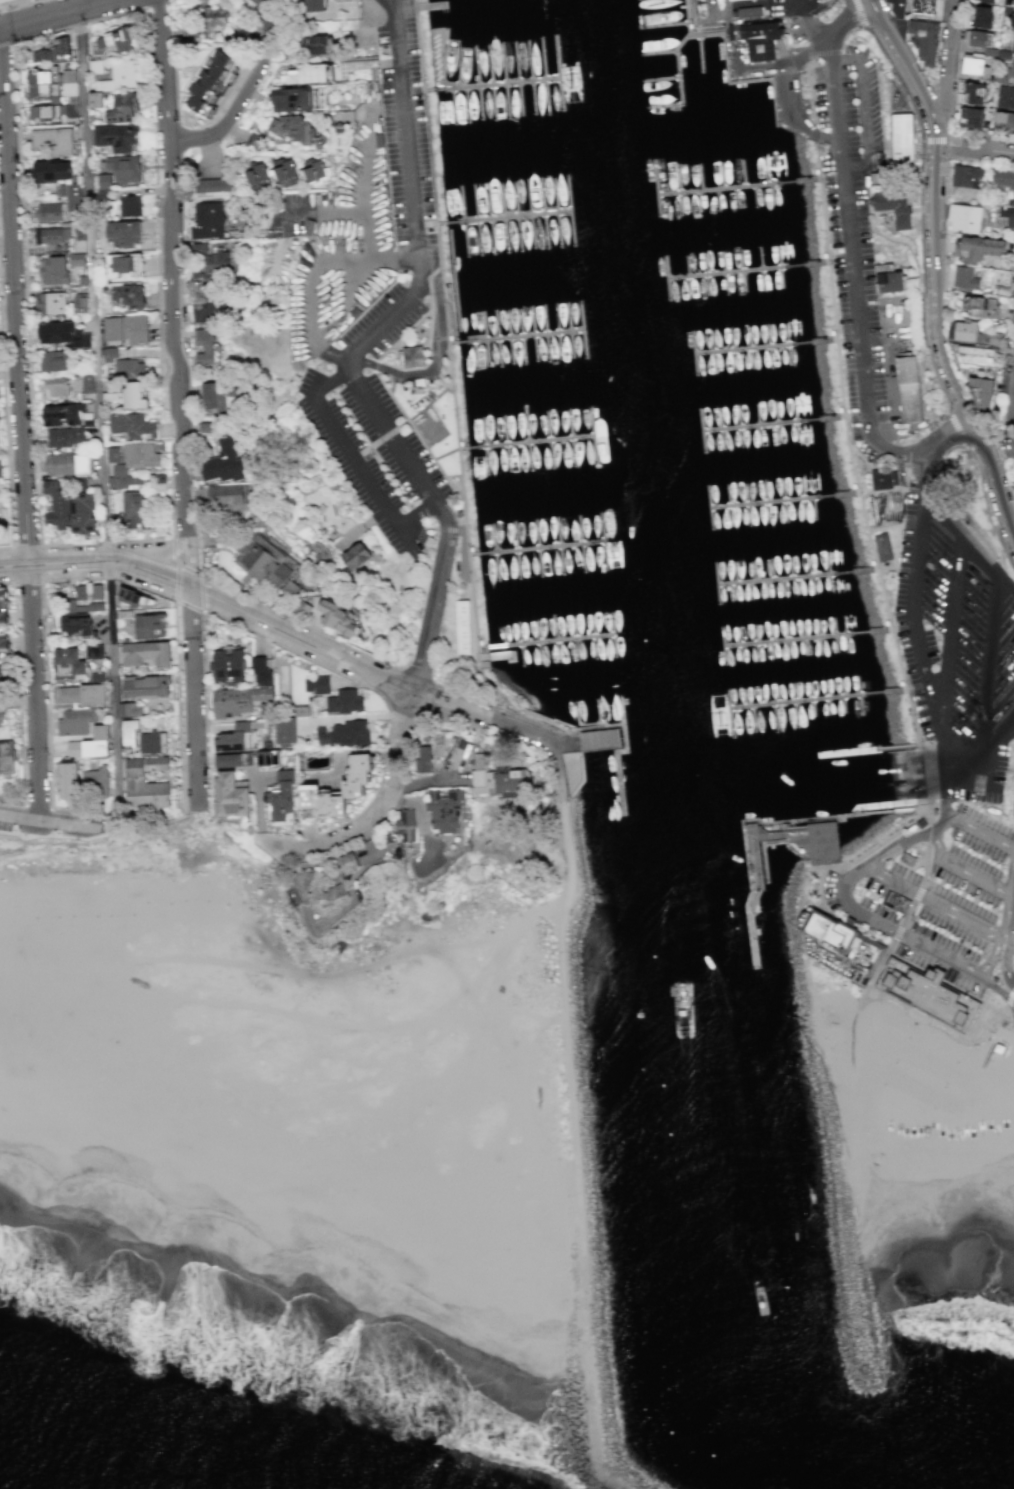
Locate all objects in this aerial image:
building: (730, 0)
road: (4, 1)
building: (744, 1)
road: (870, 1)
building: (986, 1)
building: (1013, 2)
building: (310, 6)
pier: (436, 7)
building: (896, 8)
building: (926, 8)
building: (749, 11)
road: (53, 13)
road: (858, 13)
road: (846, 16)
building: (983, 17)
building: (213, 18)
building: (1011, 21)
road: (748, 22)
park: (357, 24)
building: (116, 38)
building: (976, 38)
building: (922, 41)
road: (7, 43)
building: (60, 43)
building: (763, 43)
building: (1013, 44)
building: (310, 46)
road: (808, 49)
road: (787, 50)
road: (824, 52)
road: (844, 59)
building: (220, 61)
road: (948, 63)
building: (974, 64)
building: (96, 65)
pier: (676, 65)
building: (1011, 66)
building: (215, 73)
building: (118, 74)
building: (308, 74)
building: (69, 81)
building: (38, 83)
building: (206, 83)
pier: (493, 85)
road: (244, 91)
road: (785, 92)
road: (809, 92)
building: (198, 93)
building: (973, 93)
building: (1005, 97)
building: (95, 99)
building: (290, 101)
building: (122, 106)
building: (195, 106)
building: (71, 109)
building: (44, 112)
road: (864, 112)
building: (91, 115)
building: (971, 117)
building: (1003, 121)
building: (290, 129)
road: (815, 133)
building: (116, 136)
road: (944, 139)
building: (53, 140)
road: (928, 140)
building: (905, 142)
building: (253, 143)
road: (953, 143)
road: (186, 149)
road: (984, 151)
road: (431, 165)
building: (124, 167)
road: (855, 167)
building: (53, 170)
building: (283, 172)
building: (314, 172)
building: (967, 176)
building: (258, 177)
building: (1002, 178)
building: (104, 179)
pier: (739, 185)
building: (210, 187)
building: (104, 192)
building: (73, 196)
road: (919, 197)
building: (129, 205)
building: (897, 207)
building: (48, 211)
building: (1008, 212)
pier: (505, 218)
building: (964, 218)
building: (206, 223)
road: (23, 225)
building: (80, 230)
building: (123, 233)
building: (49, 235)
parking lot: (856, 236)
road: (848, 240)
building: (977, 248)
road: (169, 253)
building: (77, 258)
road: (182, 258)
building: (214, 264)
building: (124, 266)
road: (935, 267)
building: (54, 269)
pier: (751, 270)
building: (965, 277)
building: (83, 279)
building: (891, 279)
road: (92, 280)
road: (414, 292)
road: (171, 293)
building: (129, 296)
road: (441, 300)
building: (52, 302)
building: (80, 302)
building: (979, 306)
road: (13, 311)
building: (208, 314)
building: (128, 329)
building: (56, 330)
parking lot: (386, 330)
building: (963, 330)
road: (159, 333)
pier: (516, 336)
building: (84, 339)
road: (849, 340)
pier: (765, 346)
building: (204, 350)
building: (111, 352)
building: (977, 357)
building: (413, 358)
building: (56, 360)
road: (431, 365)
building: (129, 368)
building: (89, 382)
building: (57, 385)
building: (911, 389)
building: (114, 391)
building: (983, 394)
building: (137, 395)
building: (221, 398)
road: (451, 404)
road: (178, 408)
road: (420, 409)
road: (406, 410)
building: (63, 413)
building: (89, 421)
pier: (772, 422)
building: (134, 424)
road: (192, 425)
building: (207, 429)
road: (955, 430)
road: (1012, 431)
road: (945, 433)
road: (6, 435)
building: (66, 435)
road: (1002, 441)
road: (978, 442)
pier: (529, 443)
road: (1012, 445)
building: (113, 453)
building: (141, 455)
road: (434, 460)
building: (59, 463)
building: (81, 463)
building: (224, 466)
road: (359, 467)
building: (0, 468)
building: (119, 469)
building: (883, 478)
building: (124, 480)
building: (159, 482)
building: (81, 484)
road: (461, 489)
road: (981, 496)
building: (226, 497)
pier: (782, 500)
building: (56, 506)
building: (137, 507)
building: (82, 514)
road: (940, 520)
road: (137, 540)
building: (882, 546)
pier: (536, 548)
road: (172, 549)
road: (169, 550)
road: (875, 554)
building: (354, 556)
road: (978, 556)
building: (264, 563)
road: (468, 567)
pier: (800, 576)
road: (6, 582)
road: (13, 582)
road: (1005, 584)
building: (291, 588)
building: (90, 591)
building: (134, 597)
road: (214, 598)
building: (4, 600)
road: (909, 603)
building: (71, 604)
road: (185, 605)
building: (91, 606)
building: (302, 611)
road: (432, 613)
building: (335, 621)
building: (5, 622)
road: (296, 622)
building: (150, 625)
road: (43, 626)
building: (78, 626)
building: (460, 627)
pier: (809, 638)
pier: (559, 641)
road: (951, 643)
road: (487, 646)
building: (5, 647)
building: (95, 652)
building: (147, 654)
parking lot: (957, 655)
road: (474, 659)
building: (230, 664)
building: (69, 665)
building: (261, 670)
road: (985, 670)
building: (4, 676)
building: (97, 676)
road: (414, 677)
building: (308, 684)
building: (321, 684)
building: (147, 685)
road: (369, 688)
road: (34, 689)
road: (19, 693)
building: (83, 694)
road: (498, 694)
road: (196, 695)
road: (114, 697)
pier: (823, 698)
building: (344, 701)
road: (479, 701)
building: (243, 702)
building: (2, 703)
road: (180, 707)
building: (131, 710)
road: (208, 713)
building: (2, 717)
building: (76, 721)
road: (503, 725)
road: (543, 727)
building: (286, 730)
building: (102, 732)
building: (133, 733)
building: (344, 733)
road: (565, 736)
building: (238, 739)
road: (994, 739)
building: (156, 743)
building: (75, 748)
building: (96, 748)
pier: (622, 750)
pier: (871, 750)
building: (8, 757)
building: (421, 757)
road: (946, 758)
building: (269, 759)
building: (231, 760)
road: (961, 766)
road: (993, 767)
road: (922, 774)
building: (495, 779)
building: (69, 780)
building: (97, 781)
building: (148, 783)
building: (353, 784)
building: (235, 796)
building: (281, 800)
road: (12, 802)
parking lot: (1013, 805)
road: (38, 806)
road: (259, 807)
building: (443, 807)
road: (91, 812)
road: (377, 814)
road: (167, 819)
road: (49, 822)
road: (761, 823)
building: (404, 824)
road: (971, 826)
parking lot: (8, 830)
road: (752, 832)
road: (70, 835)
park: (147, 840)
road: (311, 841)
building: (822, 841)
building: (905, 858)
road: (756, 862)
road: (808, 869)
road: (964, 870)
building: (308, 884)
road: (1013, 887)
parking lot: (939, 894)
park: (197, 898)
road: (934, 901)
building: (901, 903)
park: (159, 905)
road: (554, 907)
park: (109, 911)
road: (858, 912)
road: (907, 912)
park: (61, 913)
road: (1011, 933)
road: (999, 936)
building: (844, 941)
road: (1008, 967)
toll booth: (992, 985)
road: (997, 990)
building: (931, 994)
road: (1009, 997)
road: (1007, 1010)
road: (1012, 1027)
park: (902, 1049)
park: (916, 1071)
park: (892, 1073)
park: (951, 1073)
park: (941, 1096)
building: (1011, 1130)
road: (575, 1140)

